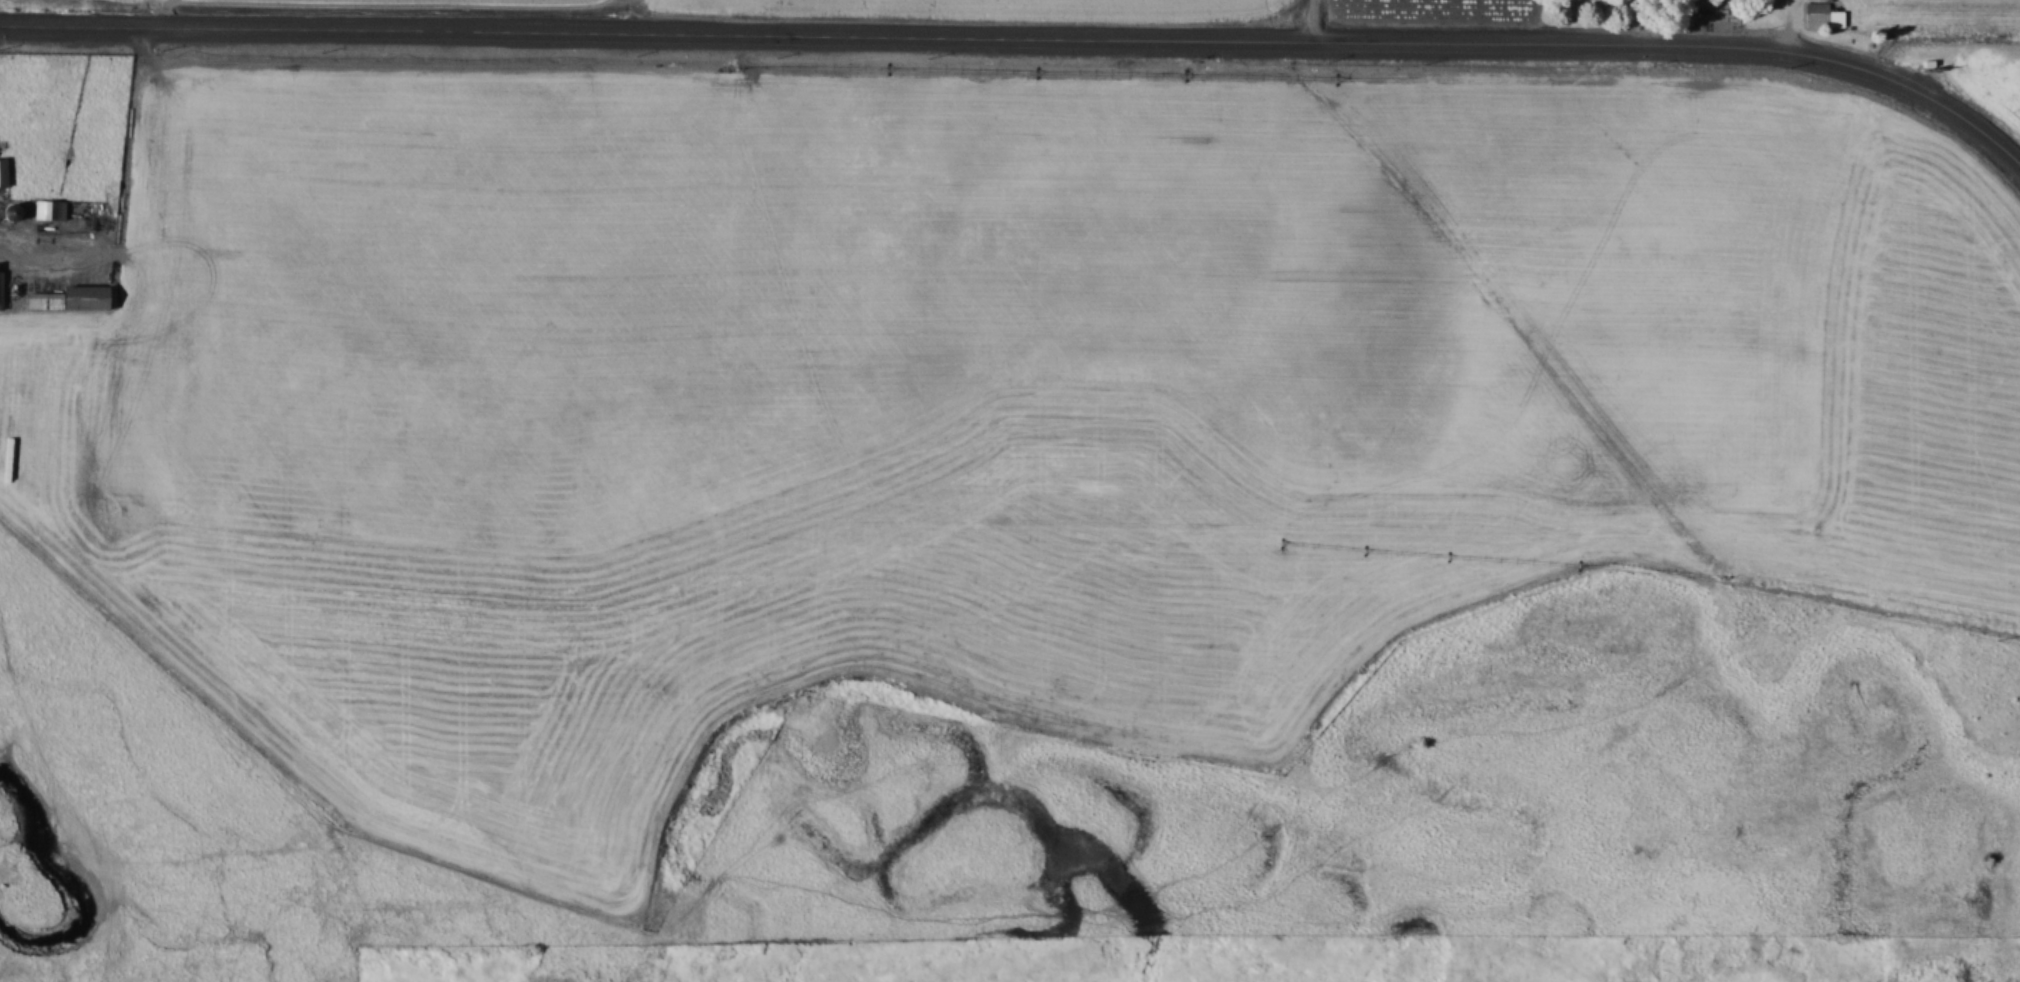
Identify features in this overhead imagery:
crop: (1414, 5)
building: (1822, 15)
road: (1311, 21)
road: (1024, 39)
building: (4, 171)
building: (50, 206)
building: (11, 211)
building: (2, 285)
building: (71, 295)

